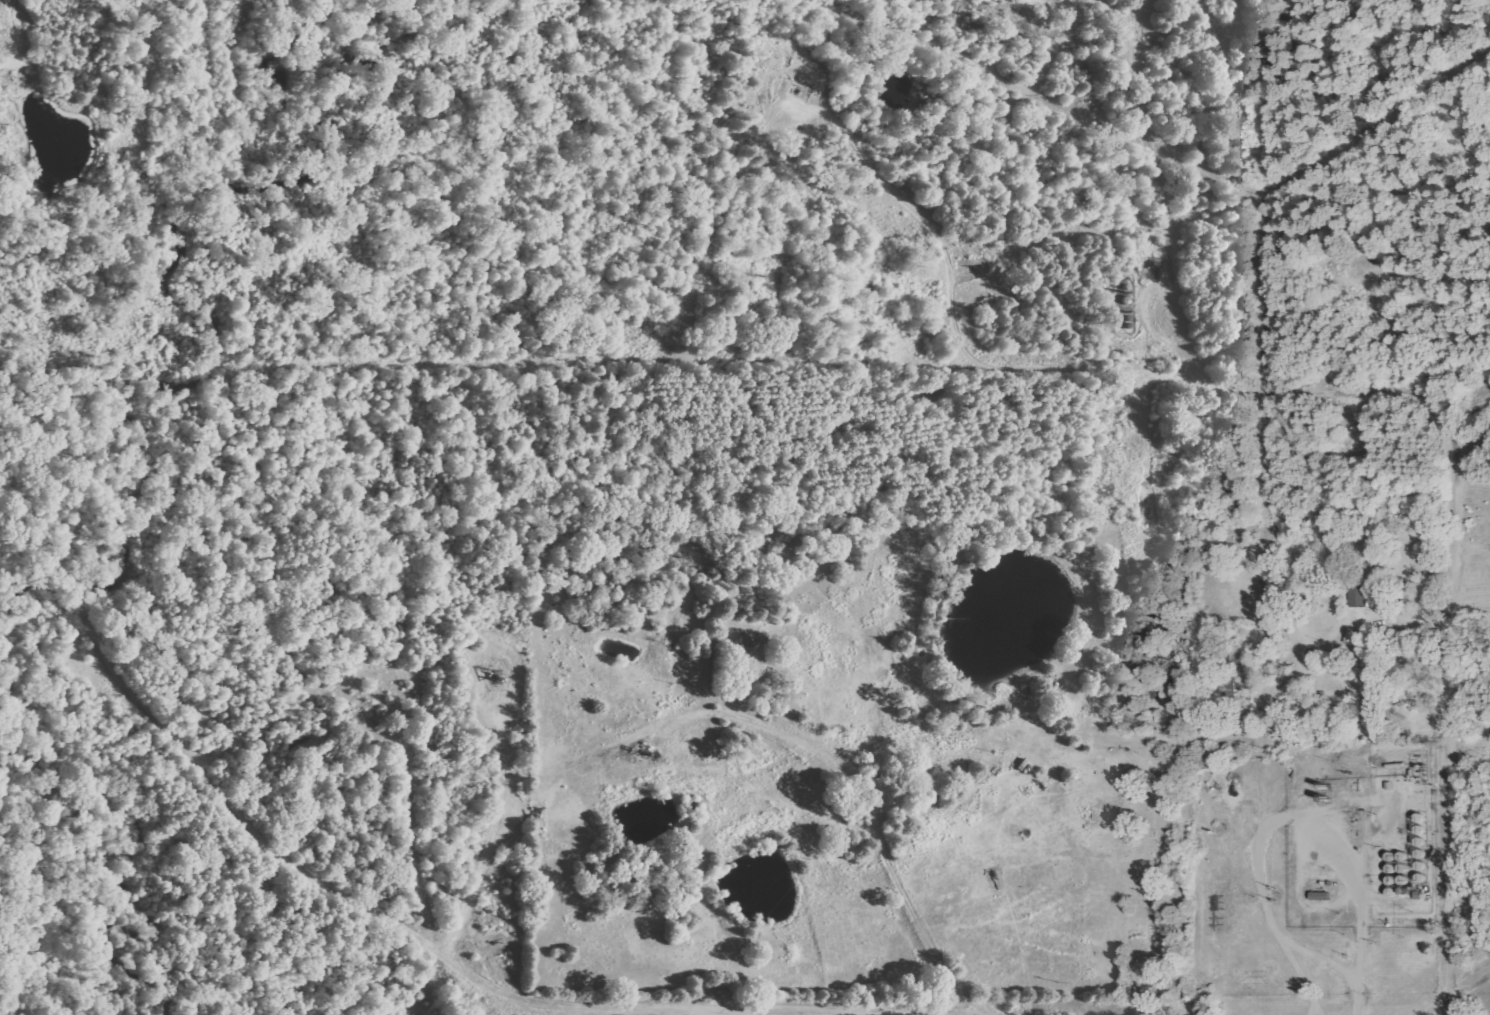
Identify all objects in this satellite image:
road: (1167, 288)
road: (1079, 368)
road: (1474, 444)
building: (1357, 595)
road: (1452, 727)
road: (386, 912)
road: (1452, 994)

